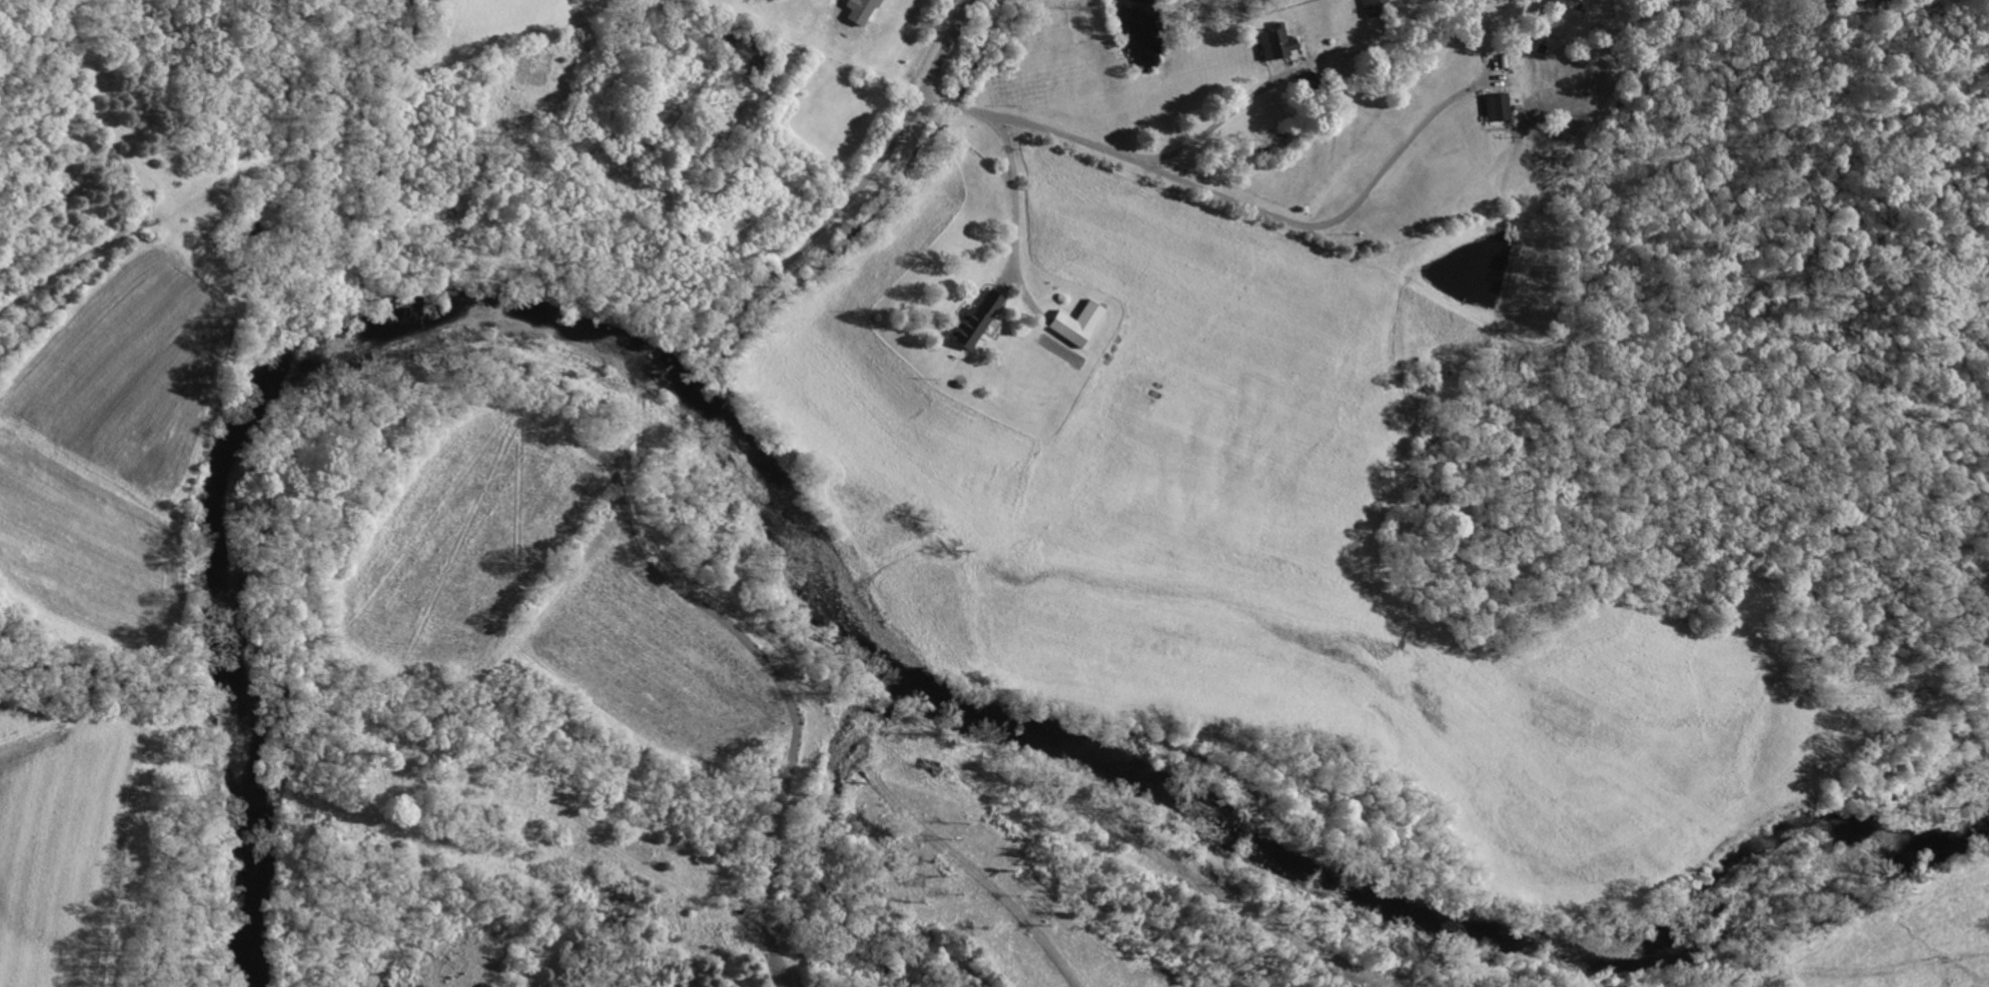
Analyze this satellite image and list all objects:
building: (1377, 8)
building: (861, 11)
building: (1277, 42)
road: (1262, 87)
building: (1500, 107)
road: (796, 158)
road: (1234, 199)
road: (1017, 202)
road: (751, 300)
road: (1, 318)
building: (977, 319)
building: (1079, 323)

